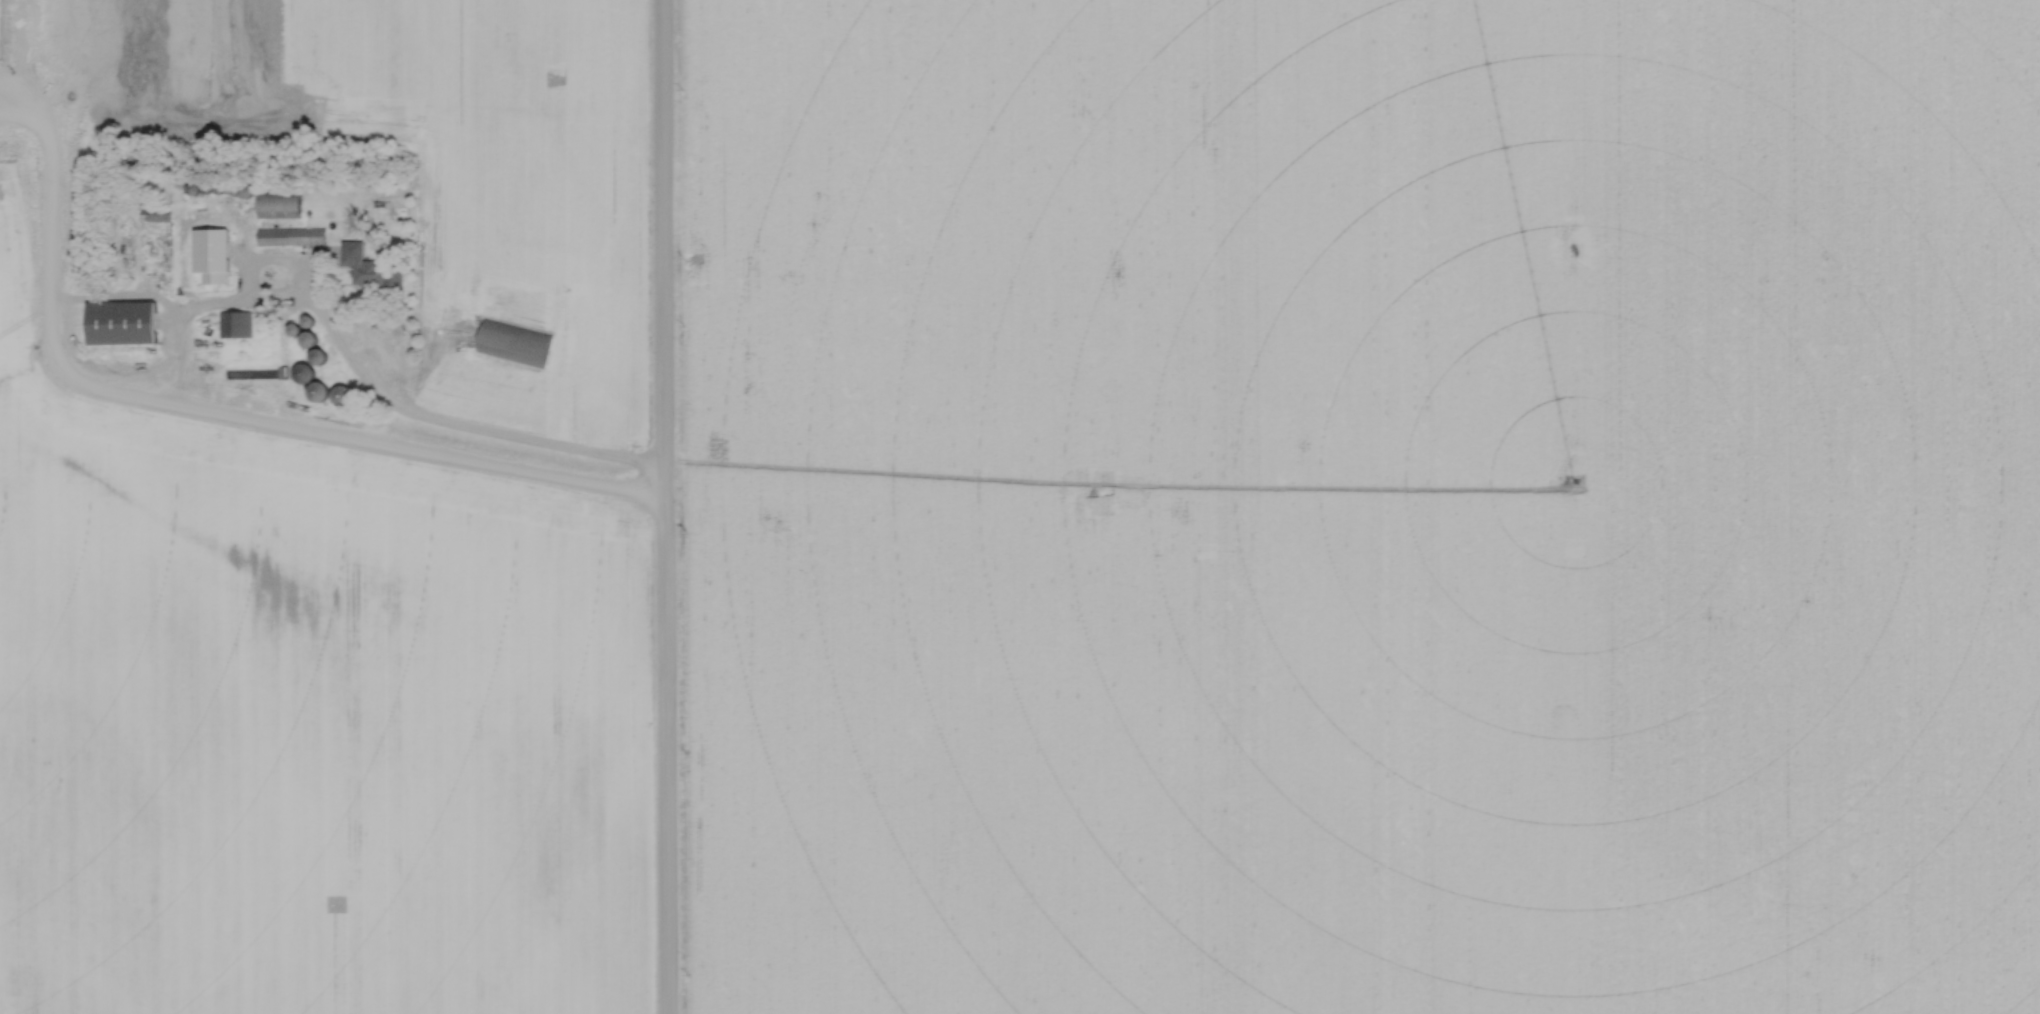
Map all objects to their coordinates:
building: (276, 205)
building: (153, 214)
building: (289, 236)
building: (217, 252)
building: (367, 272)
building: (119, 322)
building: (234, 323)
building: (306, 339)
building: (511, 342)
building: (302, 373)
building: (315, 391)
road: (452, 427)
road: (662, 506)

